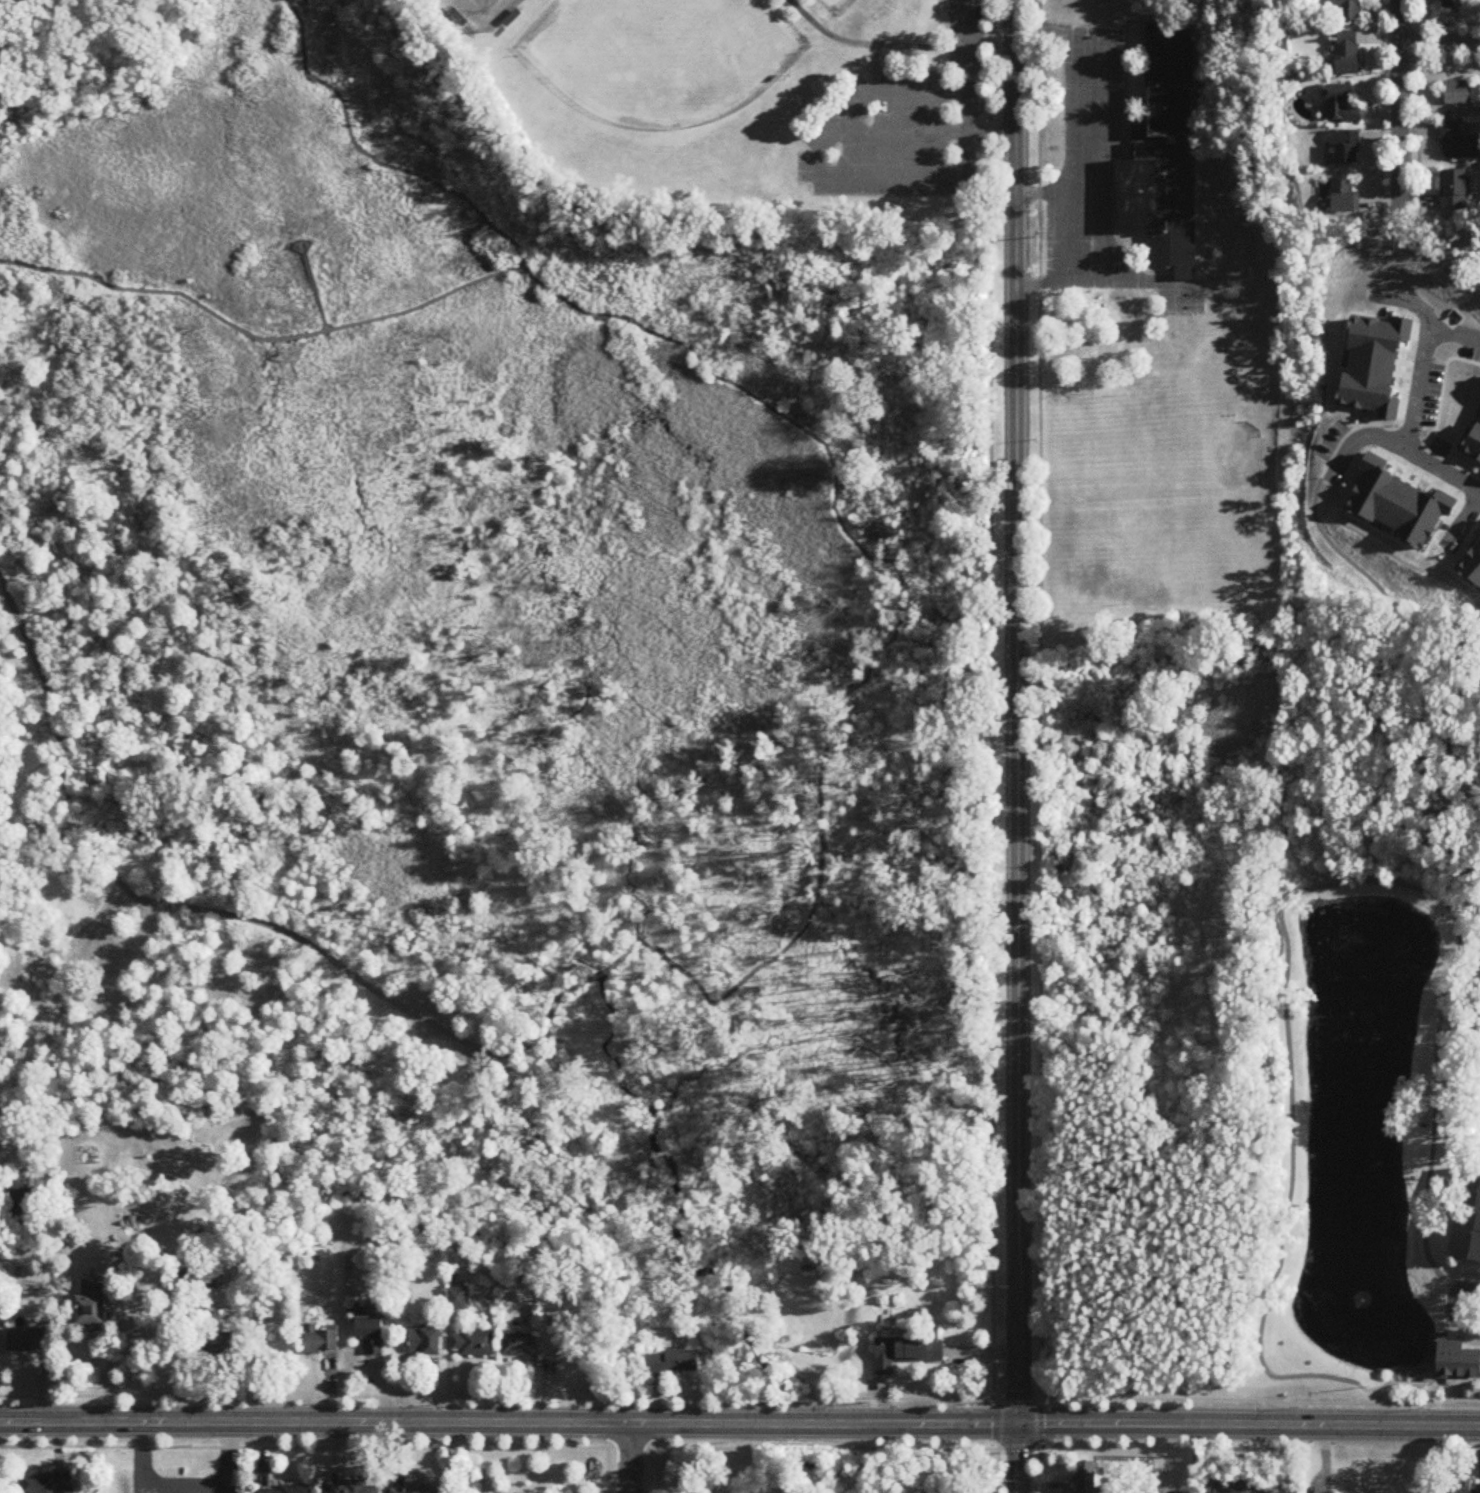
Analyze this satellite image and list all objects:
park: (838, 4)
building: (1458, 4)
building: (1345, 8)
park: (486, 12)
road: (1151, 16)
road: (1439, 39)
road: (870, 45)
road: (965, 46)
building: (1348, 54)
park: (663, 57)
road: (877, 71)
road: (1111, 72)
road: (1139, 72)
road: (1123, 89)
building: (1462, 94)
building: (1344, 105)
road: (1399, 108)
road: (1123, 120)
parking lot: (907, 126)
road: (1114, 129)
road: (900, 134)
road: (991, 134)
building: (1458, 144)
road: (1114, 146)
building: (1347, 147)
road: (818, 154)
building: (1162, 154)
road: (1071, 156)
road: (371, 159)
road: (1098, 173)
building: (1456, 191)
road: (1043, 192)
building: (1346, 197)
road: (1107, 212)
road: (1114, 227)
building: (1170, 267)
road: (1170, 267)
road: (314, 288)
park: (1183, 292)
road: (259, 340)
road: (1413, 409)
road: (1363, 434)
park: (512, 610)
road: (877, 650)
road: (991, 698)
road: (1039, 699)
road: (1016, 746)
road: (33, 773)
road: (209, 911)
road: (56, 952)
building: (3, 1155)
building: (23, 1196)
building: (1468, 1216)
building: (24, 1222)
building: (459, 1300)
building: (94, 1308)
building: (372, 1336)
building: (322, 1339)
building: (30, 1342)
road: (137, 1343)
building: (426, 1344)
building: (476, 1344)
building: (519, 1346)
building: (214, 1349)
building: (909, 1351)
building: (1451, 1358)
building: (673, 1362)
road: (537, 1385)
road: (741, 1401)
road: (740, 1422)
traffic signals: (1018, 1423)
road: (1018, 1445)
road: (998, 1446)
road: (1037, 1446)
road: (498, 1447)
road: (228, 1456)
road: (630, 1457)
building: (1082, 1479)
road: (153, 1482)
building: (35, 1484)
building: (1464, 1487)
building: (355, 1488)
building: (290, 1489)
building: (414, 1489)
building: (66, 1490)

